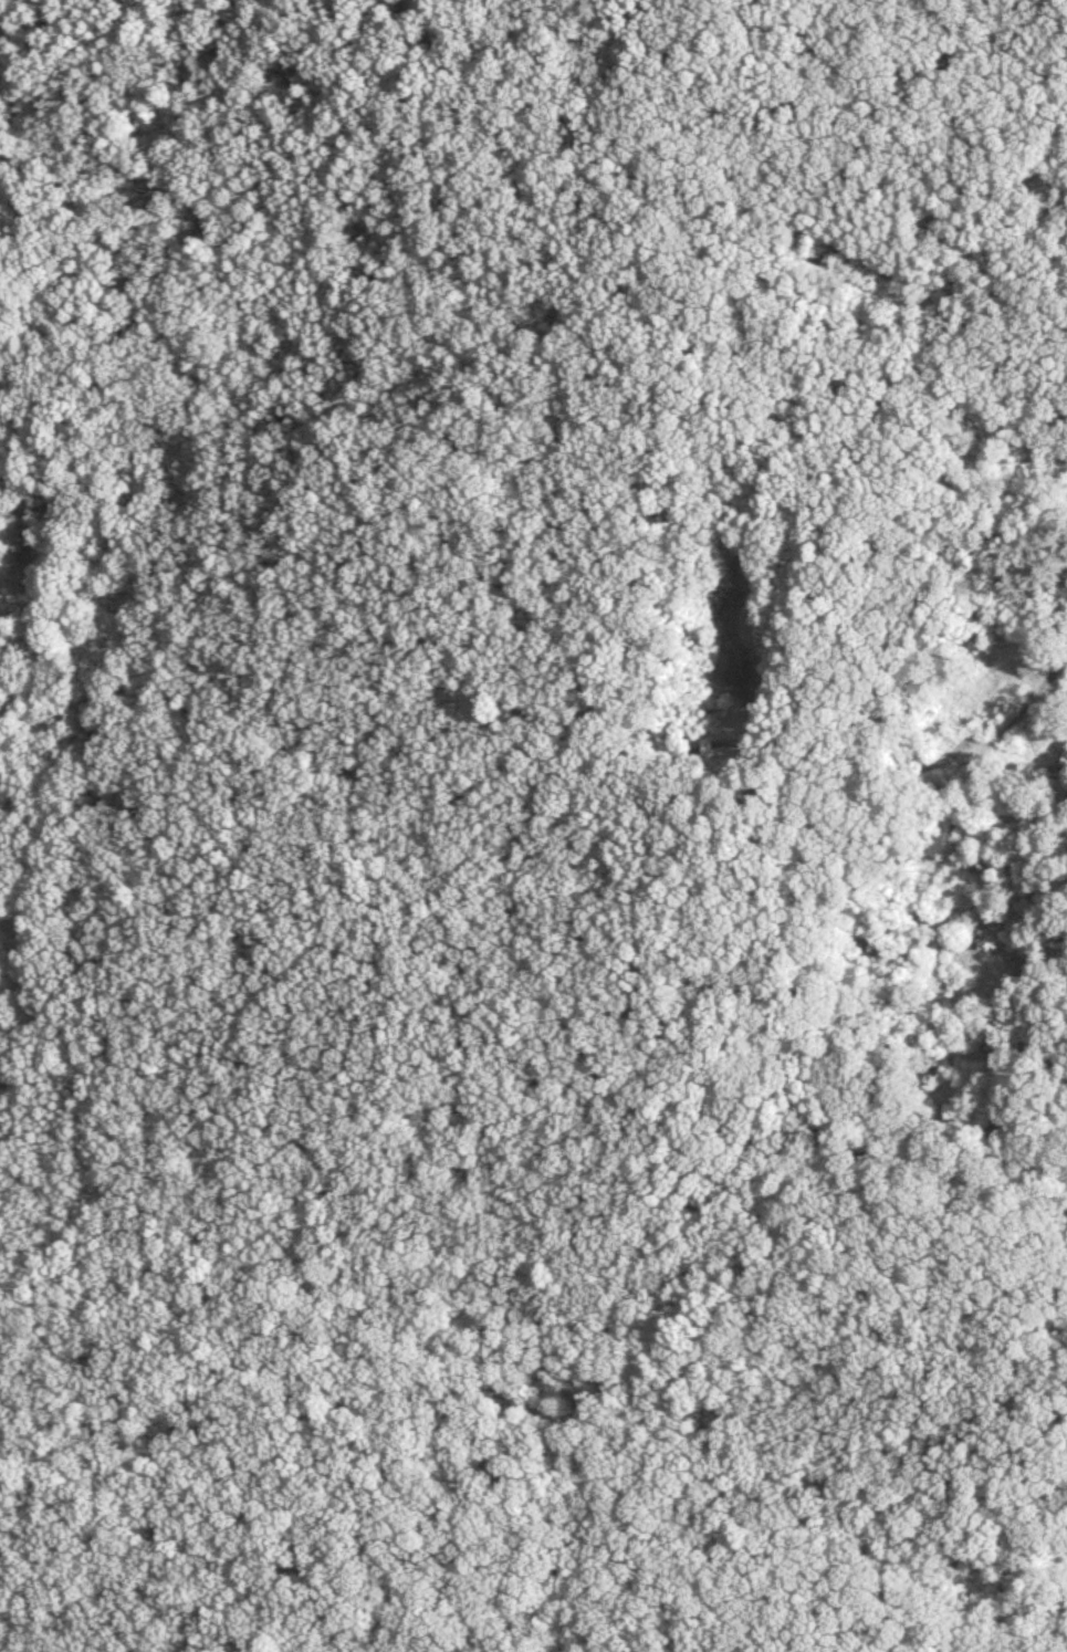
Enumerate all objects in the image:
road: (623, 343)
road: (1018, 708)
road: (687, 781)
park: (533, 826)
road: (997, 889)
road: (87, 899)
road: (1065, 900)
road: (1065, 908)
road: (1065, 917)
road: (357, 959)
road: (1042, 1049)
road: (408, 1254)
road: (147, 1386)
road: (678, 1523)
road: (186, 1592)
road: (255, 1595)

